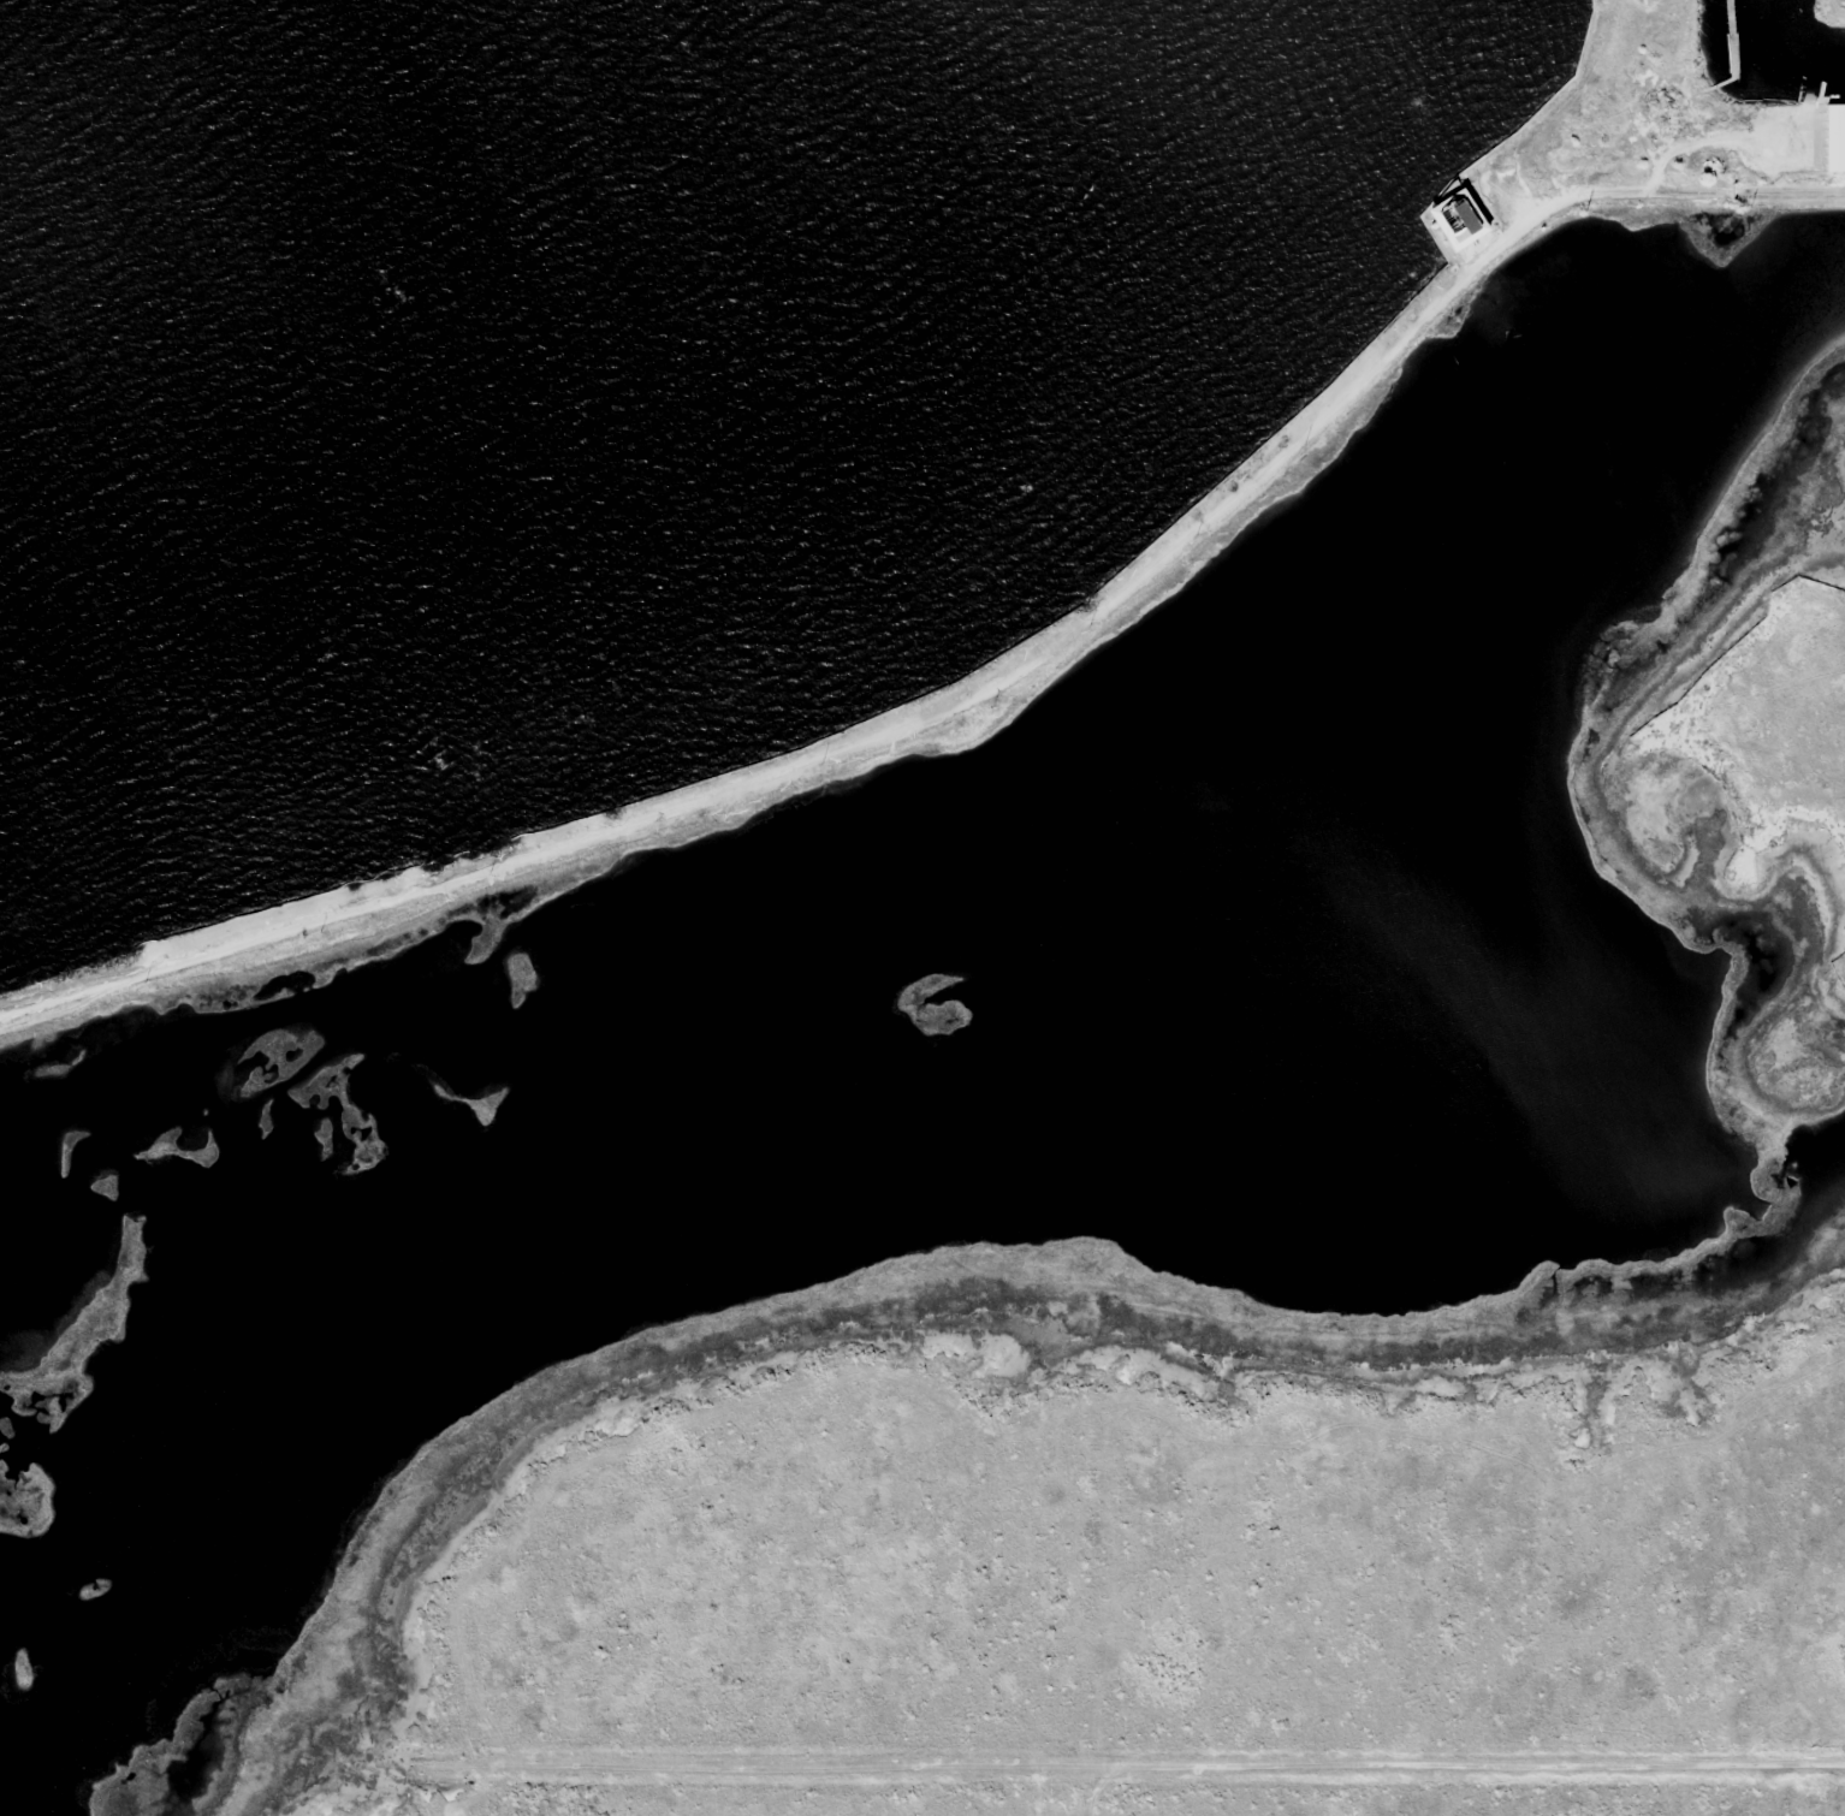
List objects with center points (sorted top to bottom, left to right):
building: (1837, 138)
building: (1465, 224)
road: (986, 683)

